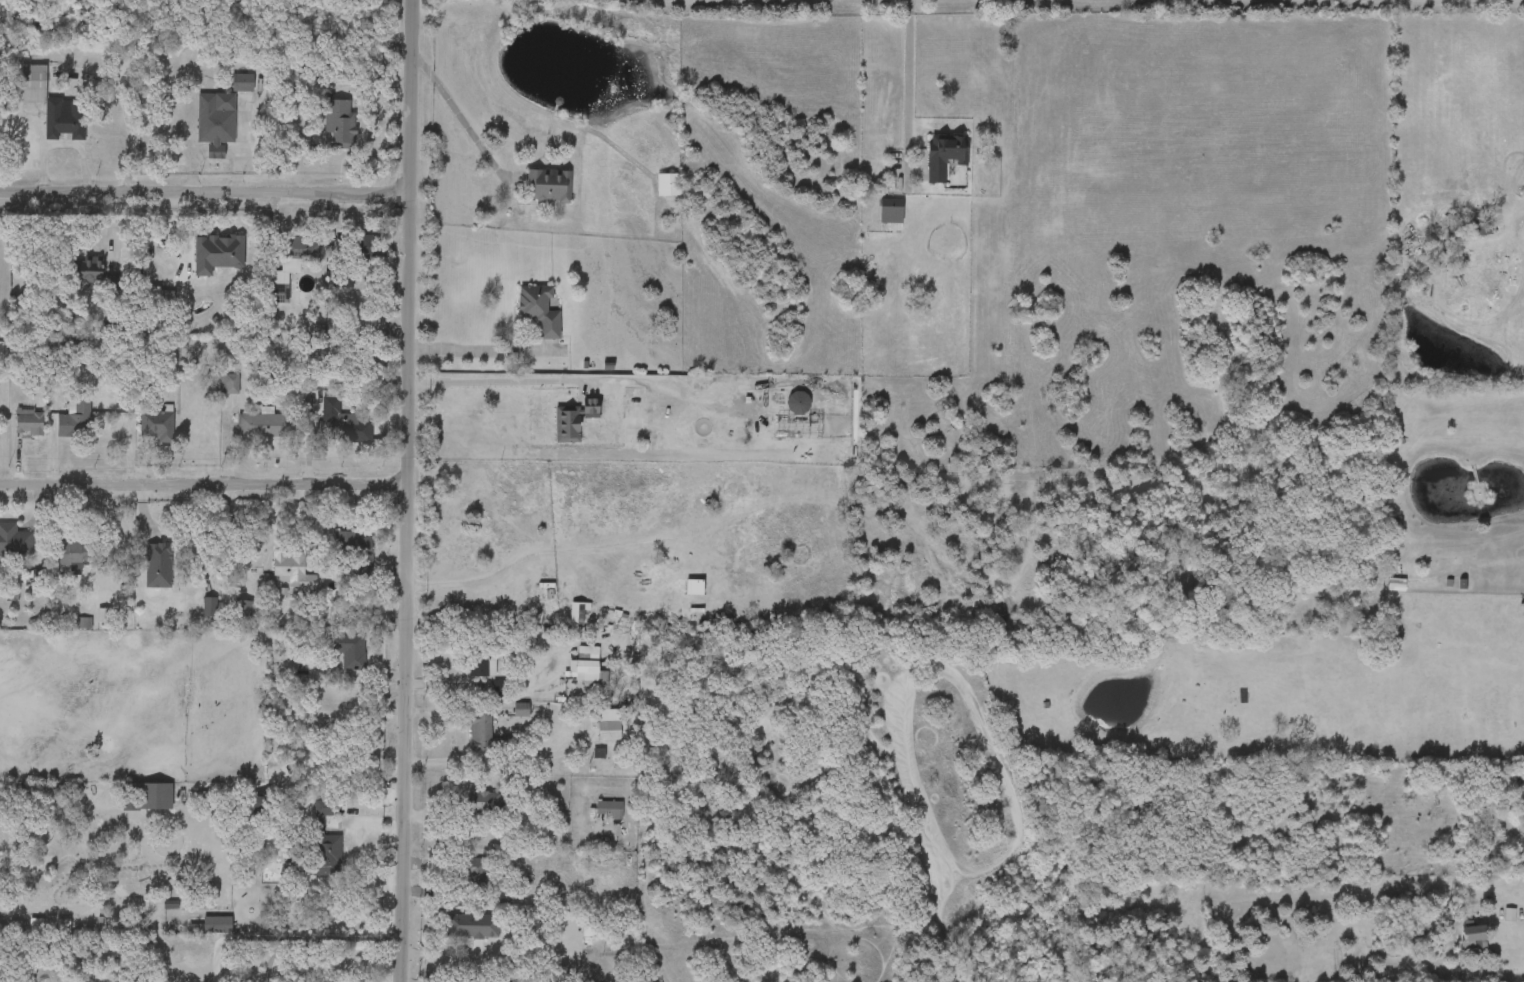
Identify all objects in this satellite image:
road: (910, 75)
building: (18, 92)
building: (227, 92)
building: (50, 100)
building: (214, 119)
building: (340, 121)
building: (324, 130)
road: (448, 133)
building: (199, 135)
building: (946, 154)
building: (928, 165)
building: (549, 184)
building: (671, 184)
building: (653, 193)
road: (203, 194)
building: (532, 195)
building: (892, 205)
building: (875, 219)
building: (1465, 238)
building: (364, 245)
building: (295, 249)
building: (205, 252)
building: (351, 254)
building: (280, 257)
building: (88, 269)
building: (73, 278)
building: (278, 285)
building: (167, 295)
building: (540, 308)
building: (525, 319)
road: (475, 349)
road: (494, 383)
building: (213, 394)
building: (637, 403)
building: (782, 412)
building: (75, 418)
building: (576, 419)
building: (29, 421)
building: (344, 422)
building: (158, 423)
building: (264, 423)
building: (802, 427)
building: (558, 428)
building: (59, 429)
building: (15, 431)
building: (330, 432)
building: (141, 434)
building: (248, 435)
road: (204, 486)
road: (408, 491)
building: (15, 537)
building: (73, 551)
building: (8, 552)
building: (357, 556)
building: (341, 559)
building: (59, 565)
building: (293, 567)
building: (143, 574)
building: (278, 581)
building: (242, 607)
building: (194, 615)
building: (227, 618)
building: (563, 621)
building: (351, 649)
building: (334, 658)
building: (484, 661)
building: (590, 662)
building: (572, 673)
building: (463, 675)
building: (503, 718)
building: (615, 730)
building: (595, 733)
building: (490, 735)
building: (465, 740)
building: (1516, 759)
building: (208, 800)
building: (487, 802)
building: (139, 804)
building: (613, 808)
building: (468, 810)
building: (595, 817)
building: (327, 844)
building: (310, 851)
building: (476, 875)
building: (460, 880)
building: (479, 926)
building: (1472, 931)
road: (1517, 932)
building: (198, 933)
building: (565, 933)
building: (456, 934)
road: (289, 936)
building: (1459, 945)
building: (504, 981)

